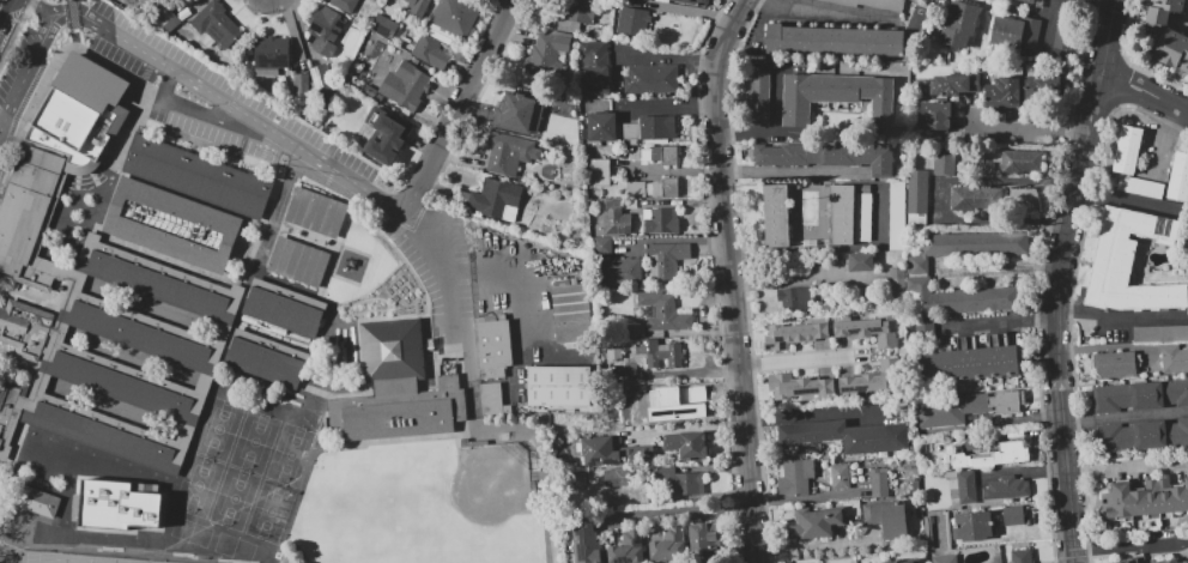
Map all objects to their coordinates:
building: (695, 1)
building: (1028, 1)
building: (871, 2)
building: (344, 4)
road: (1103, 4)
road: (36, 5)
road: (69, 5)
building: (411, 5)
building: (1162, 10)
road: (831, 12)
building: (575, 13)
road: (7, 16)
building: (455, 16)
road: (1187, 19)
road: (72, 20)
building: (631, 22)
road: (283, 23)
building: (216, 24)
road: (1048, 24)
building: (323, 25)
building: (384, 25)
building: (960, 25)
building: (1066, 25)
road: (16, 31)
building: (1016, 32)
building: (438, 34)
building: (835, 40)
building: (557, 44)
building: (430, 50)
building: (1174, 50)
building: (272, 53)
road: (1127, 62)
road: (24, 73)
building: (321, 78)
building: (650, 78)
building: (595, 79)
road: (1125, 83)
building: (411, 84)
building: (953, 84)
road: (445, 85)
building: (301, 86)
building: (1041, 87)
road: (469, 90)
road: (1146, 92)
road: (481, 93)
building: (1004, 93)
road: (222, 95)
building: (759, 96)
building: (836, 96)
building: (527, 107)
building: (935, 115)
road: (213, 117)
road: (776, 125)
building: (601, 127)
road: (1032, 127)
road: (163, 128)
building: (648, 128)
building: (387, 134)
parking lot: (242, 140)
building: (508, 150)
building: (669, 155)
building: (828, 156)
building: (1020, 161)
building: (945, 164)
building: (1135, 165)
building: (599, 171)
road: (792, 171)
building: (198, 175)
building: (1181, 178)
building: (669, 186)
building: (916, 192)
road: (417, 195)
building: (975, 198)
building: (496, 199)
building: (317, 211)
building: (842, 213)
building: (775, 216)
building: (616, 218)
building: (26, 219)
building: (663, 220)
building: (170, 225)
road: (419, 228)
road: (393, 234)
building: (975, 243)
building: (601, 246)
building: (1187, 248)
building: (668, 259)
building: (297, 261)
building: (861, 261)
building: (915, 264)
building: (1114, 264)
building: (619, 271)
road: (449, 274)
road: (715, 278)
road: (731, 278)
road: (744, 278)
road: (1038, 278)
road: (1060, 278)
road: (799, 279)
road: (514, 284)
building: (896, 284)
road: (1069, 293)
building: (794, 297)
building: (965, 301)
building: (663, 310)
building: (570, 311)
building: (283, 313)
road: (1121, 316)
road: (998, 321)
building: (24, 328)
building: (634, 329)
building: (869, 329)
building: (1177, 332)
building: (793, 333)
building: (493, 344)
building: (660, 352)
building: (188, 357)
building: (964, 357)
building: (1172, 358)
road: (799, 361)
building: (263, 364)
building: (1114, 364)
building: (872, 379)
building: (558, 383)
building: (396, 387)
building: (800, 387)
building: (645, 394)
building: (1159, 395)
building: (489, 399)
building: (1111, 399)
building: (684, 401)
building: (964, 407)
building: (10, 413)
road: (808, 413)
road: (1125, 417)
building: (1150, 434)
building: (845, 436)
building: (1114, 437)
building: (687, 444)
building: (601, 450)
building: (993, 455)
road: (1123, 467)
building: (616, 477)
building: (840, 478)
building: (798, 479)
park: (490, 480)
building: (879, 482)
building: (681, 483)
building: (965, 485)
building: (1006, 489)
building: (952, 491)
building: (29, 496)
building: (1145, 497)
building: (120, 509)
road: (679, 509)
building: (1013, 514)
building: (887, 517)
building: (816, 525)
building: (975, 525)
building: (939, 528)
building: (702, 538)
building: (583, 541)
road: (1129, 544)
building: (668, 545)
building: (628, 549)
building: (1022, 556)
building: (944, 558)
track: (73, 559)
building: (903, 561)
building: (1123, 562)
building: (1177, 562)

